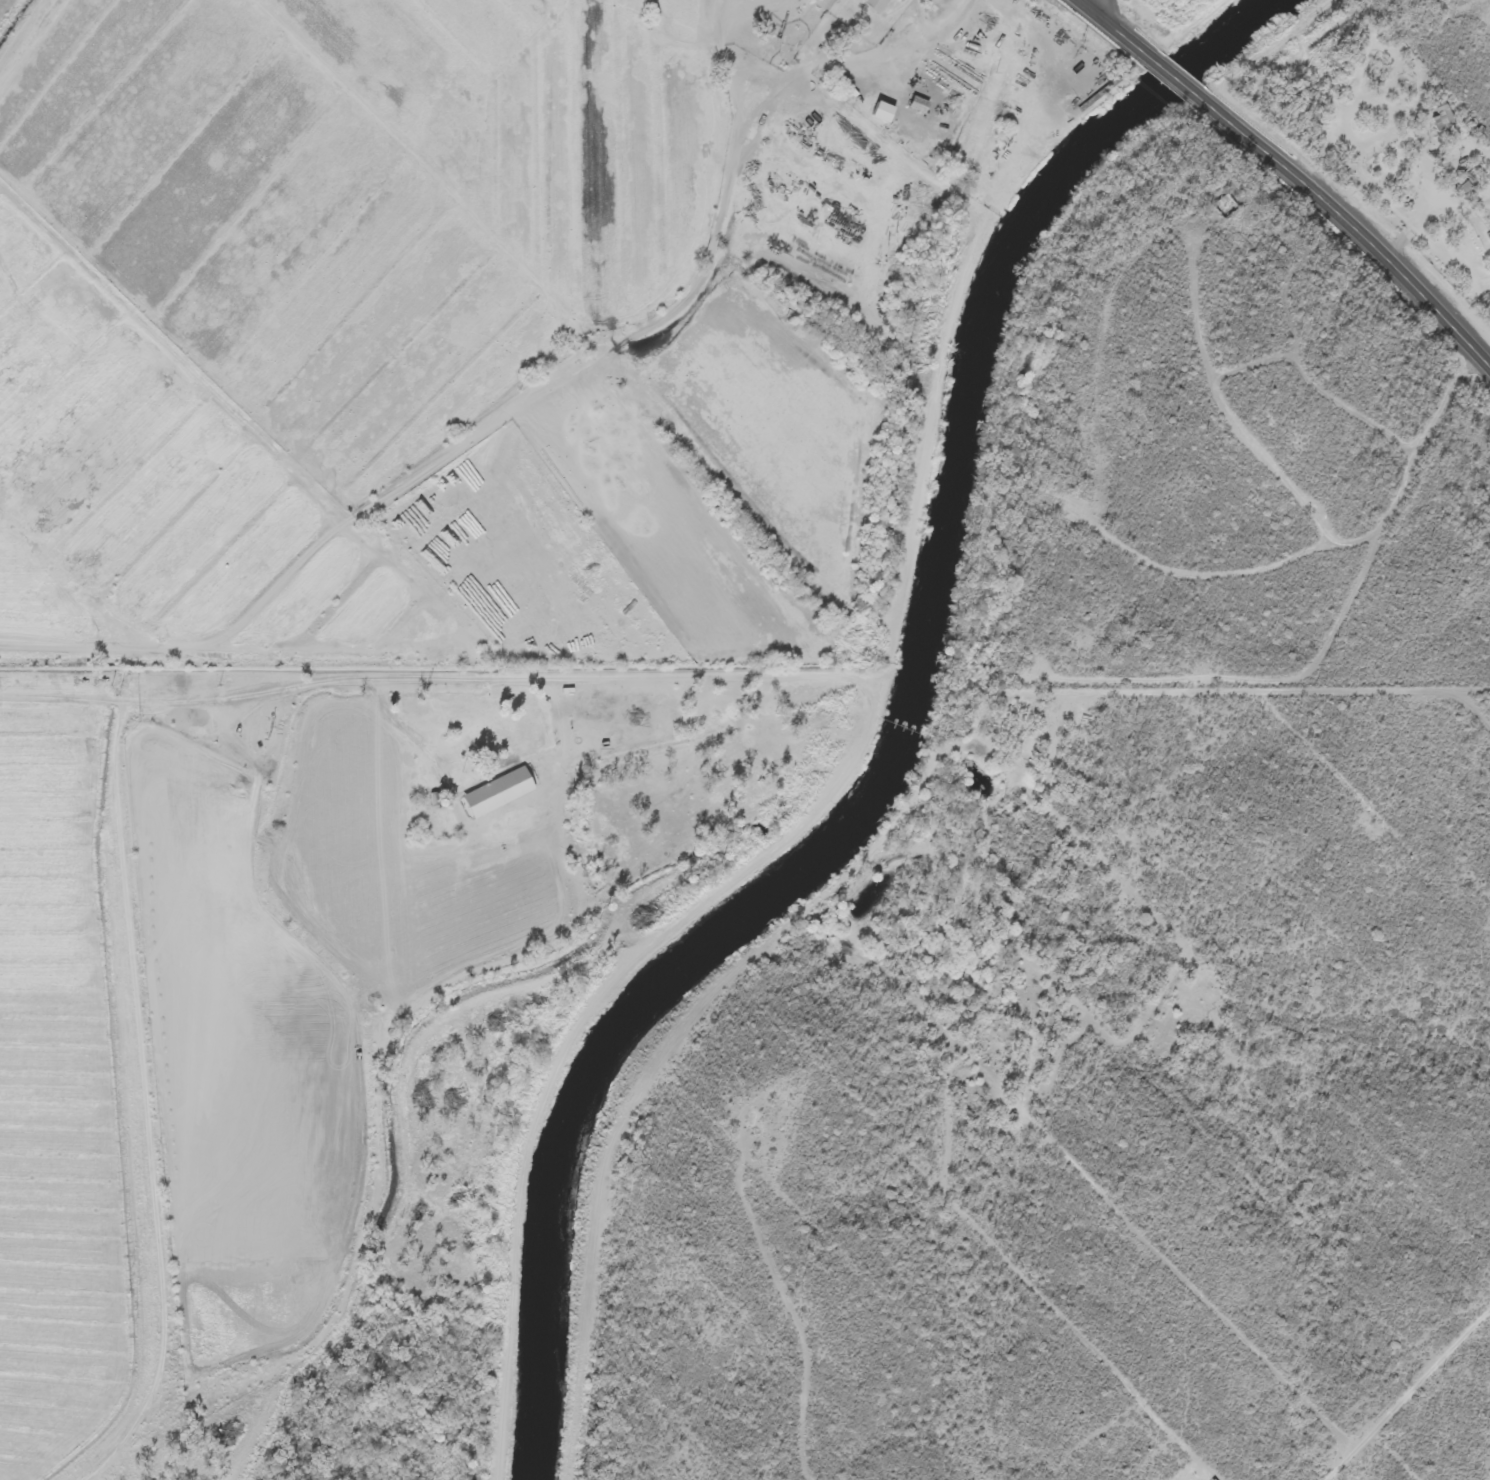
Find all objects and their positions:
building: (898, 0)
road: (1089, 3)
building: (873, 5)
road: (1109, 24)
road: (1175, 78)
building: (915, 105)
building: (878, 112)
building: (1439, 116)
road: (1355, 230)
road: (448, 681)
building: (496, 794)
road: (1191, 977)
road: (795, 1325)

